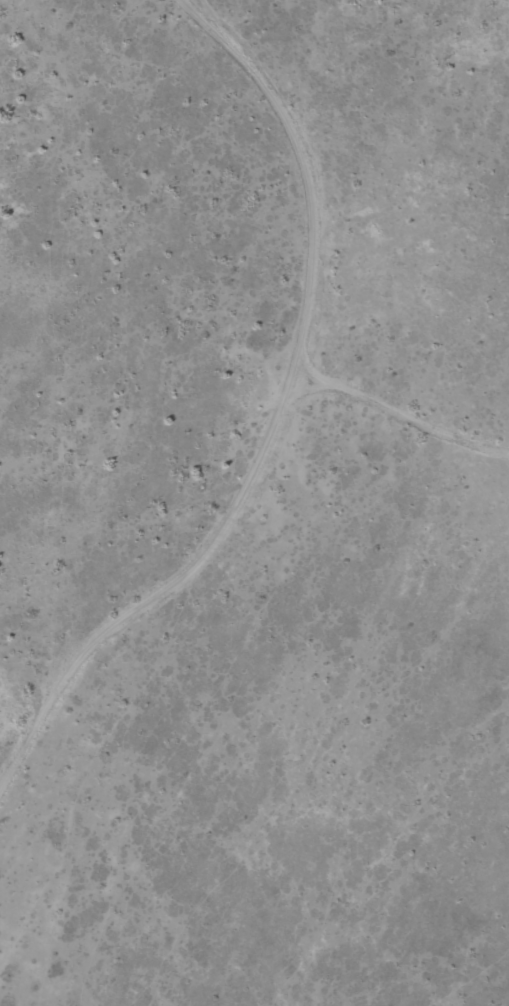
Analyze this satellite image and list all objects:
road: (292, 447)

